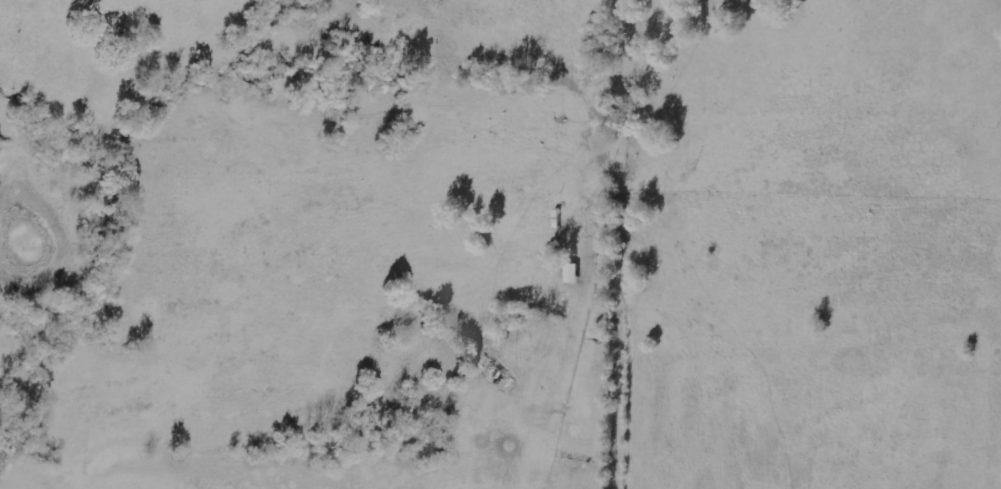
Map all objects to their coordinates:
road: (626, 244)
building: (570, 273)

